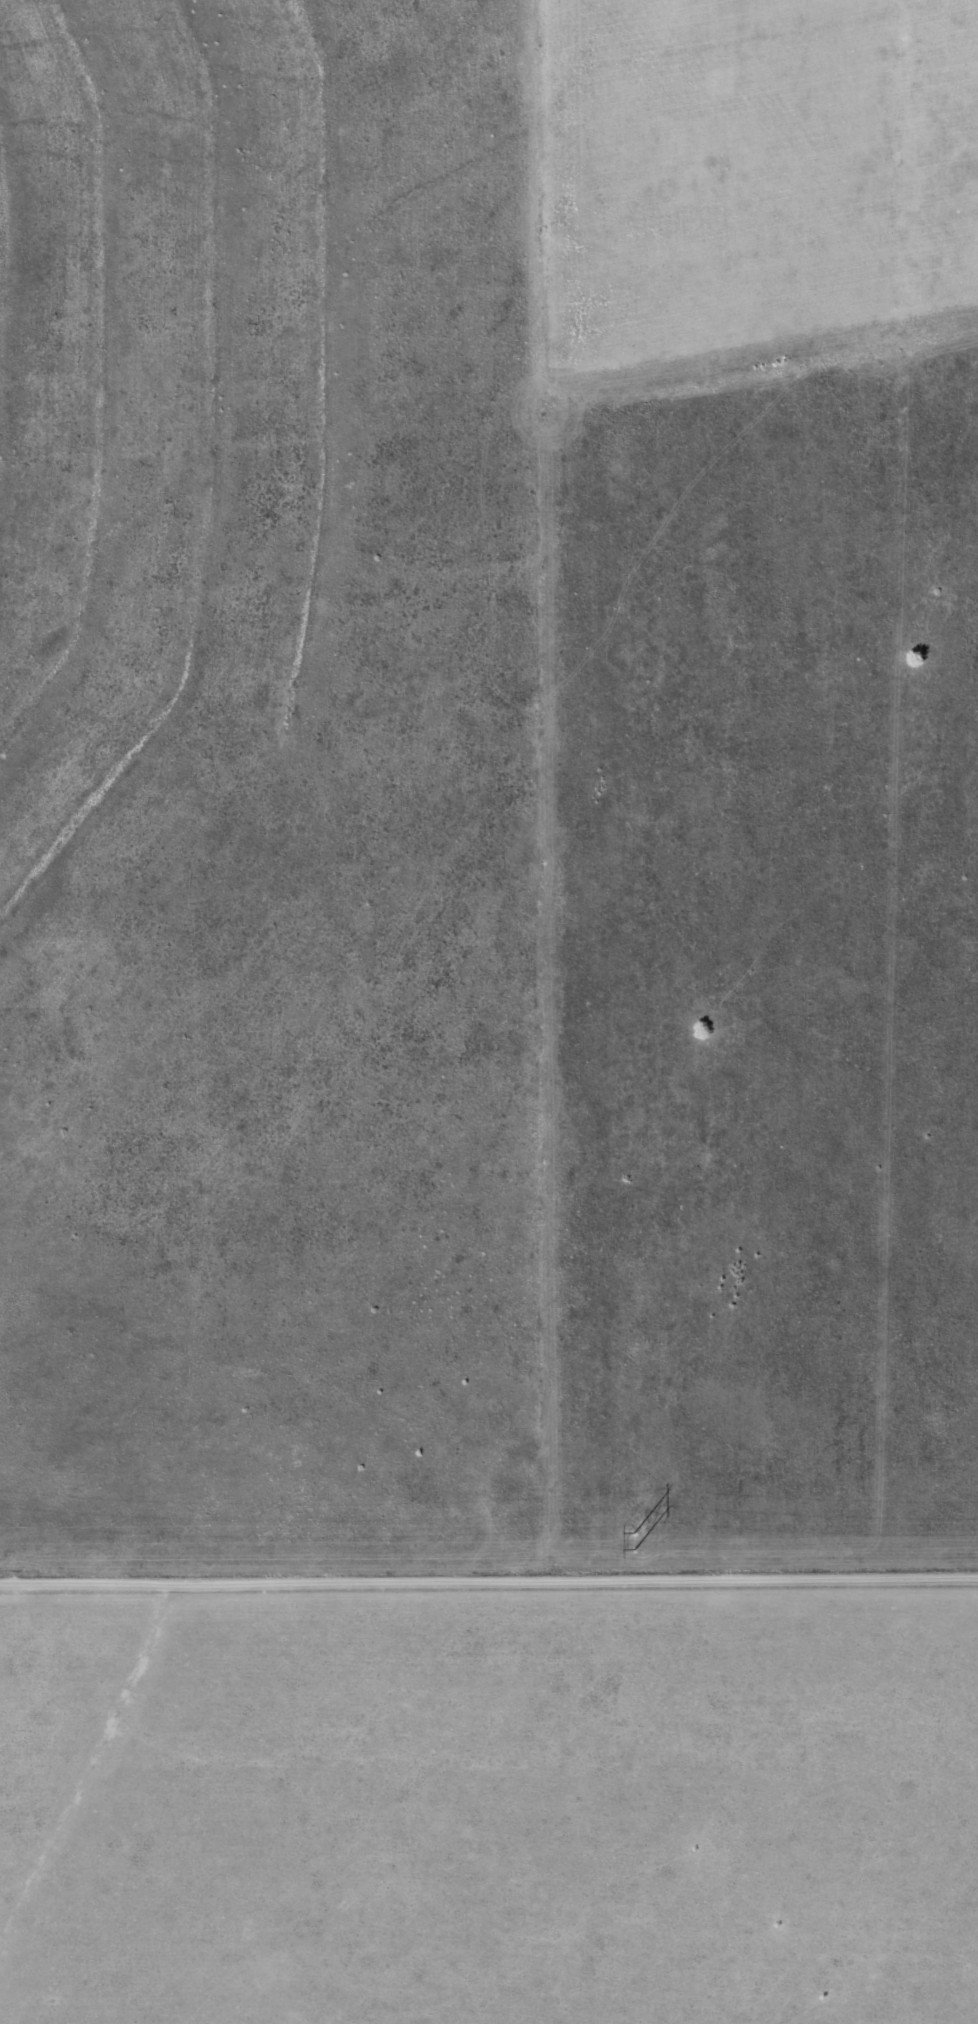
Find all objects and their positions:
power tower: (633, 1543)
road: (489, 1561)

